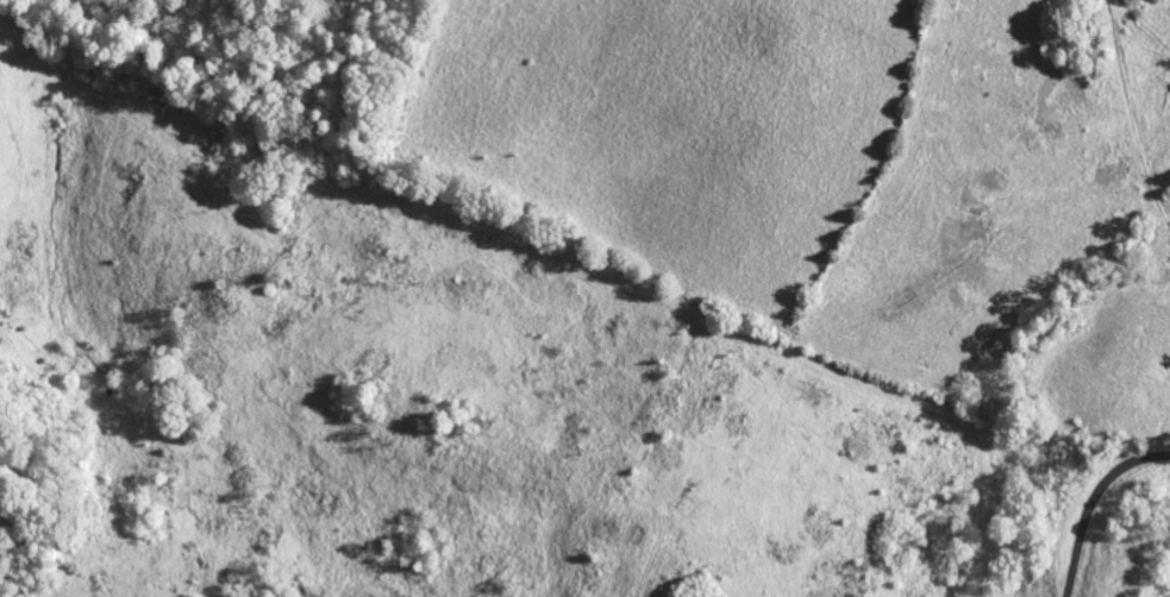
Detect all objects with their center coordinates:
road: (1091, 503)

